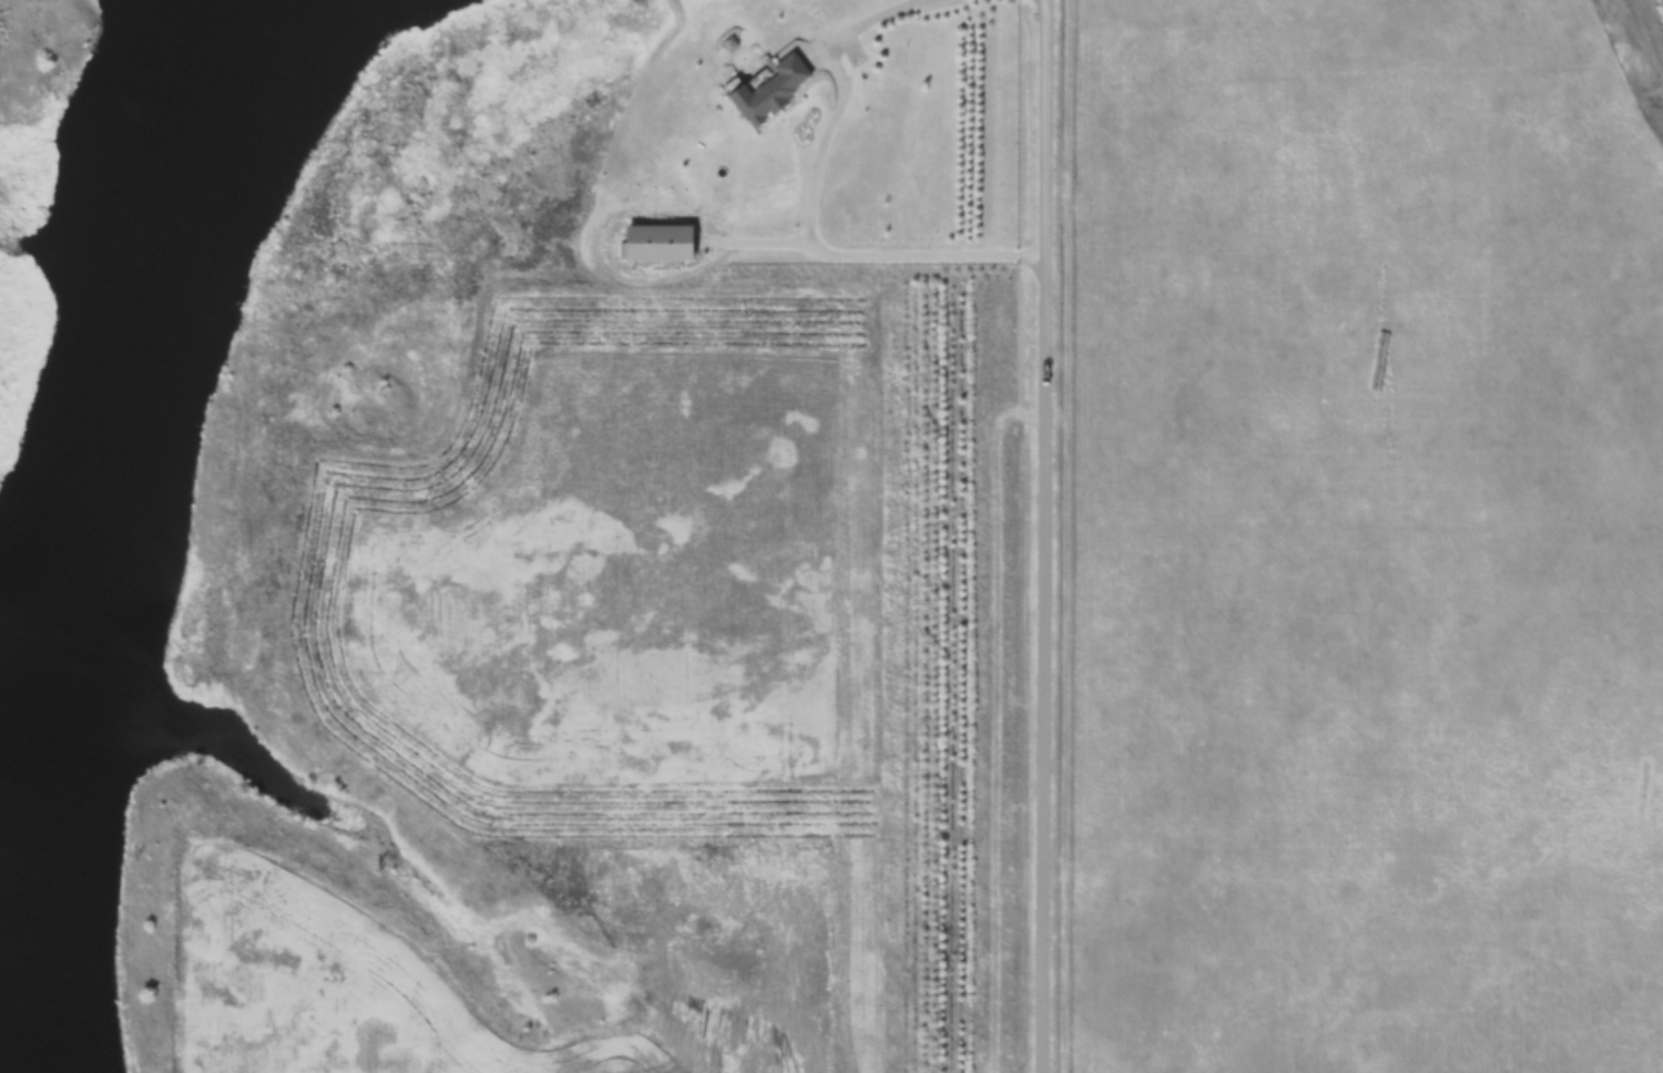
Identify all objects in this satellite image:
building: (771, 88)
building: (657, 241)
river: (83, 507)
road: (1045, 536)

